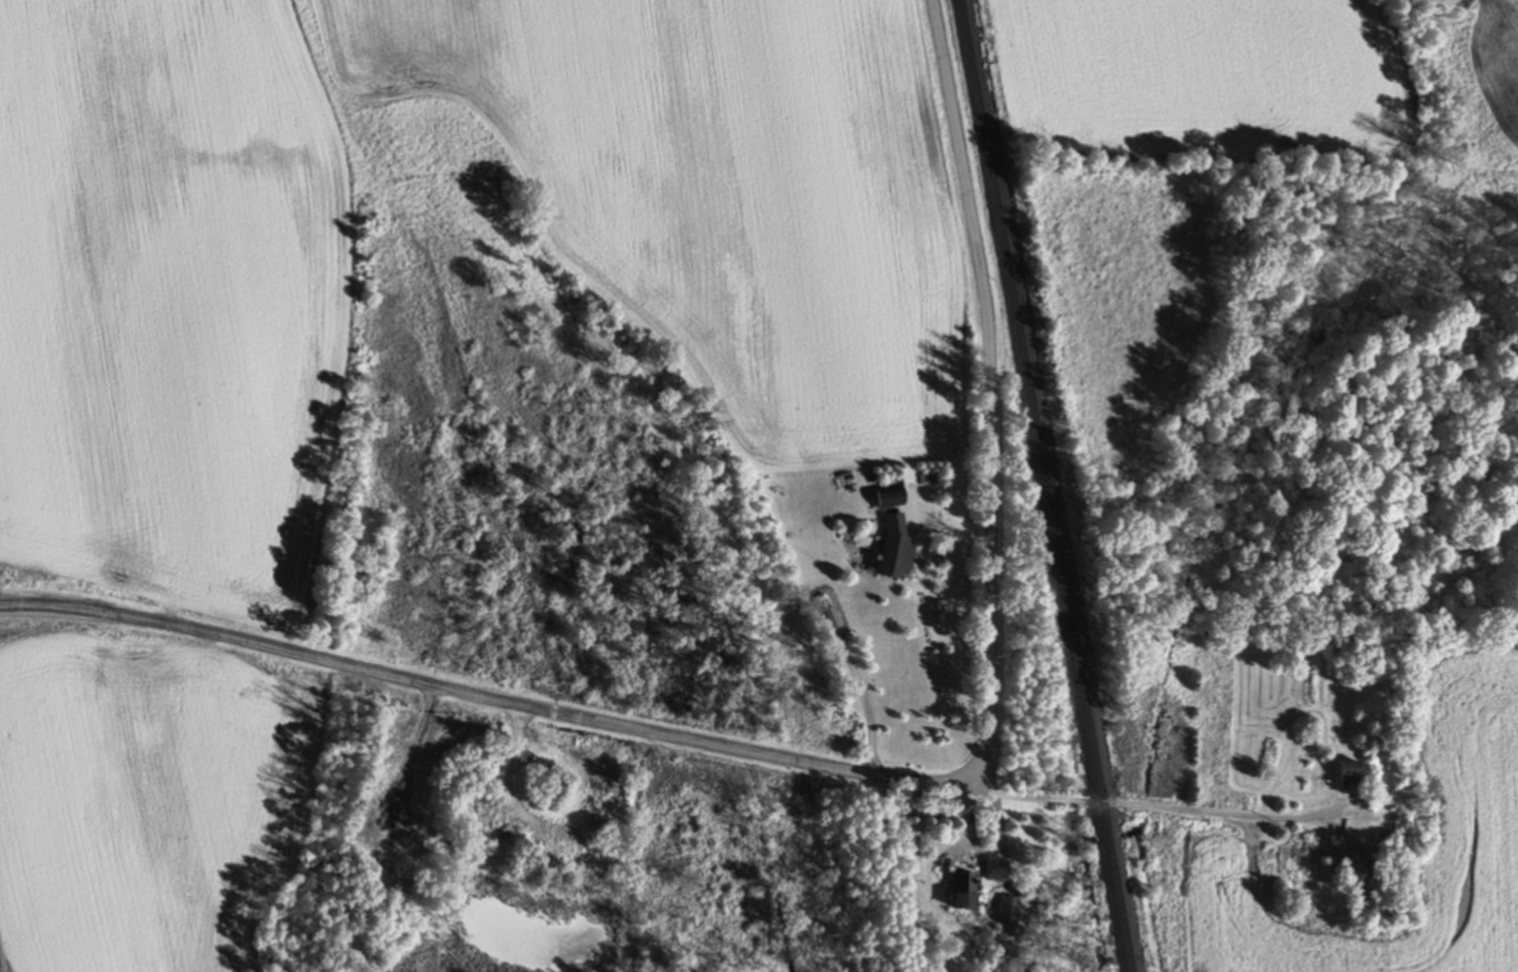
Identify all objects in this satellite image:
railway: (1048, 486)
building: (882, 500)
building: (889, 550)
building: (1340, 773)
road: (870, 774)
road: (1146, 809)
building: (1338, 858)
building: (958, 892)
building: (1007, 913)

